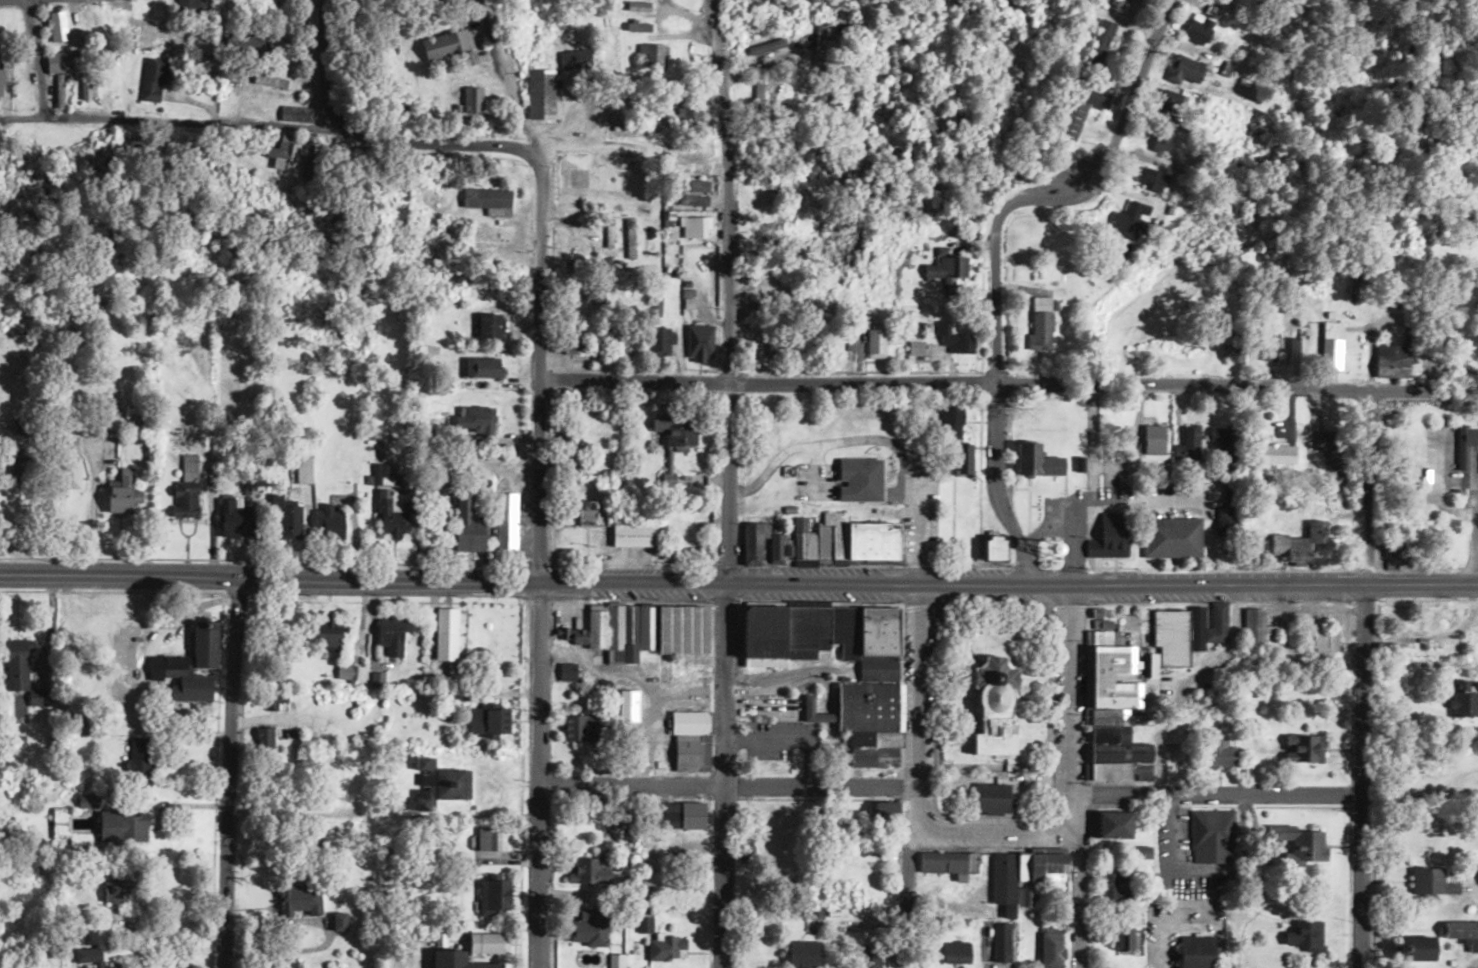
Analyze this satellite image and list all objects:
road: (13, 1)
building: (189, 6)
building: (740, 10)
building: (113, 18)
building: (6, 19)
building: (56, 26)
building: (636, 27)
building: (1198, 30)
building: (1099, 42)
building: (444, 44)
building: (759, 47)
building: (650, 56)
road: (34, 58)
building: (574, 59)
road: (323, 64)
building: (1195, 68)
building: (4, 70)
building: (57, 72)
building: (152, 79)
building: (87, 88)
road: (584, 91)
building: (539, 94)
building: (470, 100)
building: (1170, 100)
building: (1084, 104)
building: (294, 113)
building: (690, 113)
road: (164, 122)
road: (430, 139)
building: (1159, 141)
building: (282, 154)
building: (688, 155)
building: (1149, 180)
building: (693, 186)
road: (728, 190)
building: (691, 200)
building: (486, 201)
building: (1127, 220)
building: (694, 227)
building: (761, 239)
road: (996, 250)
building: (948, 270)
building: (593, 292)
building: (487, 326)
building: (1040, 330)
building: (952, 338)
building: (660, 339)
building: (699, 342)
building: (623, 343)
building: (875, 343)
building: (1266, 345)
building: (1331, 345)
building: (1234, 347)
building: (1296, 357)
building: (1387, 361)
building: (482, 367)
road: (539, 368)
road: (1008, 382)
building: (110, 418)
building: (475, 419)
building: (674, 431)
building: (1153, 440)
building: (1223, 442)
building: (1188, 444)
building: (1276, 453)
building: (1331, 454)
building: (962, 459)
building: (69, 461)
building: (1036, 461)
building: (19, 463)
building: (305, 469)
building: (857, 480)
road: (727, 481)
road: (896, 483)
building: (188, 484)
building: (121, 495)
building: (389, 507)
building: (584, 511)
building: (233, 519)
building: (286, 521)
building: (328, 521)
building: (506, 523)
building: (467, 524)
building: (632, 537)
building: (1109, 537)
building: (1170, 538)
building: (1295, 540)
building: (820, 543)
building: (990, 546)
water tower: (1048, 549)
road: (738, 582)
building: (1207, 625)
building: (645, 630)
building: (326, 632)
building: (1259, 632)
building: (392, 634)
building: (446, 636)
building: (1169, 638)
building: (1323, 640)
building: (192, 664)
building: (568, 671)
building: (349, 672)
road: (1365, 679)
road: (1074, 688)
building: (1464, 699)
building: (627, 706)
building: (868, 706)
building: (989, 706)
building: (1110, 718)
building: (488, 720)
building: (578, 727)
building: (687, 737)
building: (264, 738)
building: (1305, 748)
building: (1221, 754)
building: (139, 762)
road: (232, 773)
road: (540, 774)
road: (724, 775)
road: (914, 776)
building: (440, 783)
road: (726, 785)
road: (1219, 791)
building: (990, 798)
building: (882, 813)
building: (678, 814)
building: (1112, 824)
building: (122, 826)
road: (995, 827)
building: (1212, 836)
building: (490, 838)
building: (1300, 845)
building: (1142, 852)
building: (948, 864)
building: (586, 870)
building: (1034, 875)
road: (1078, 879)
building: (1003, 881)
building: (1430, 881)
building: (115, 882)
building: (1114, 884)
building: (492, 896)
building: (300, 898)
road: (1068, 909)
building: (341, 920)
building: (587, 926)
building: (1462, 932)
building: (1304, 935)
building: (1123, 939)
building: (1001, 941)
building: (486, 942)
building: (666, 947)
building: (1416, 947)
building: (1051, 948)
building: (91, 950)
building: (880, 952)
building: (962, 952)
building: (802, 954)
building: (455, 960)
building: (1195, 960)

